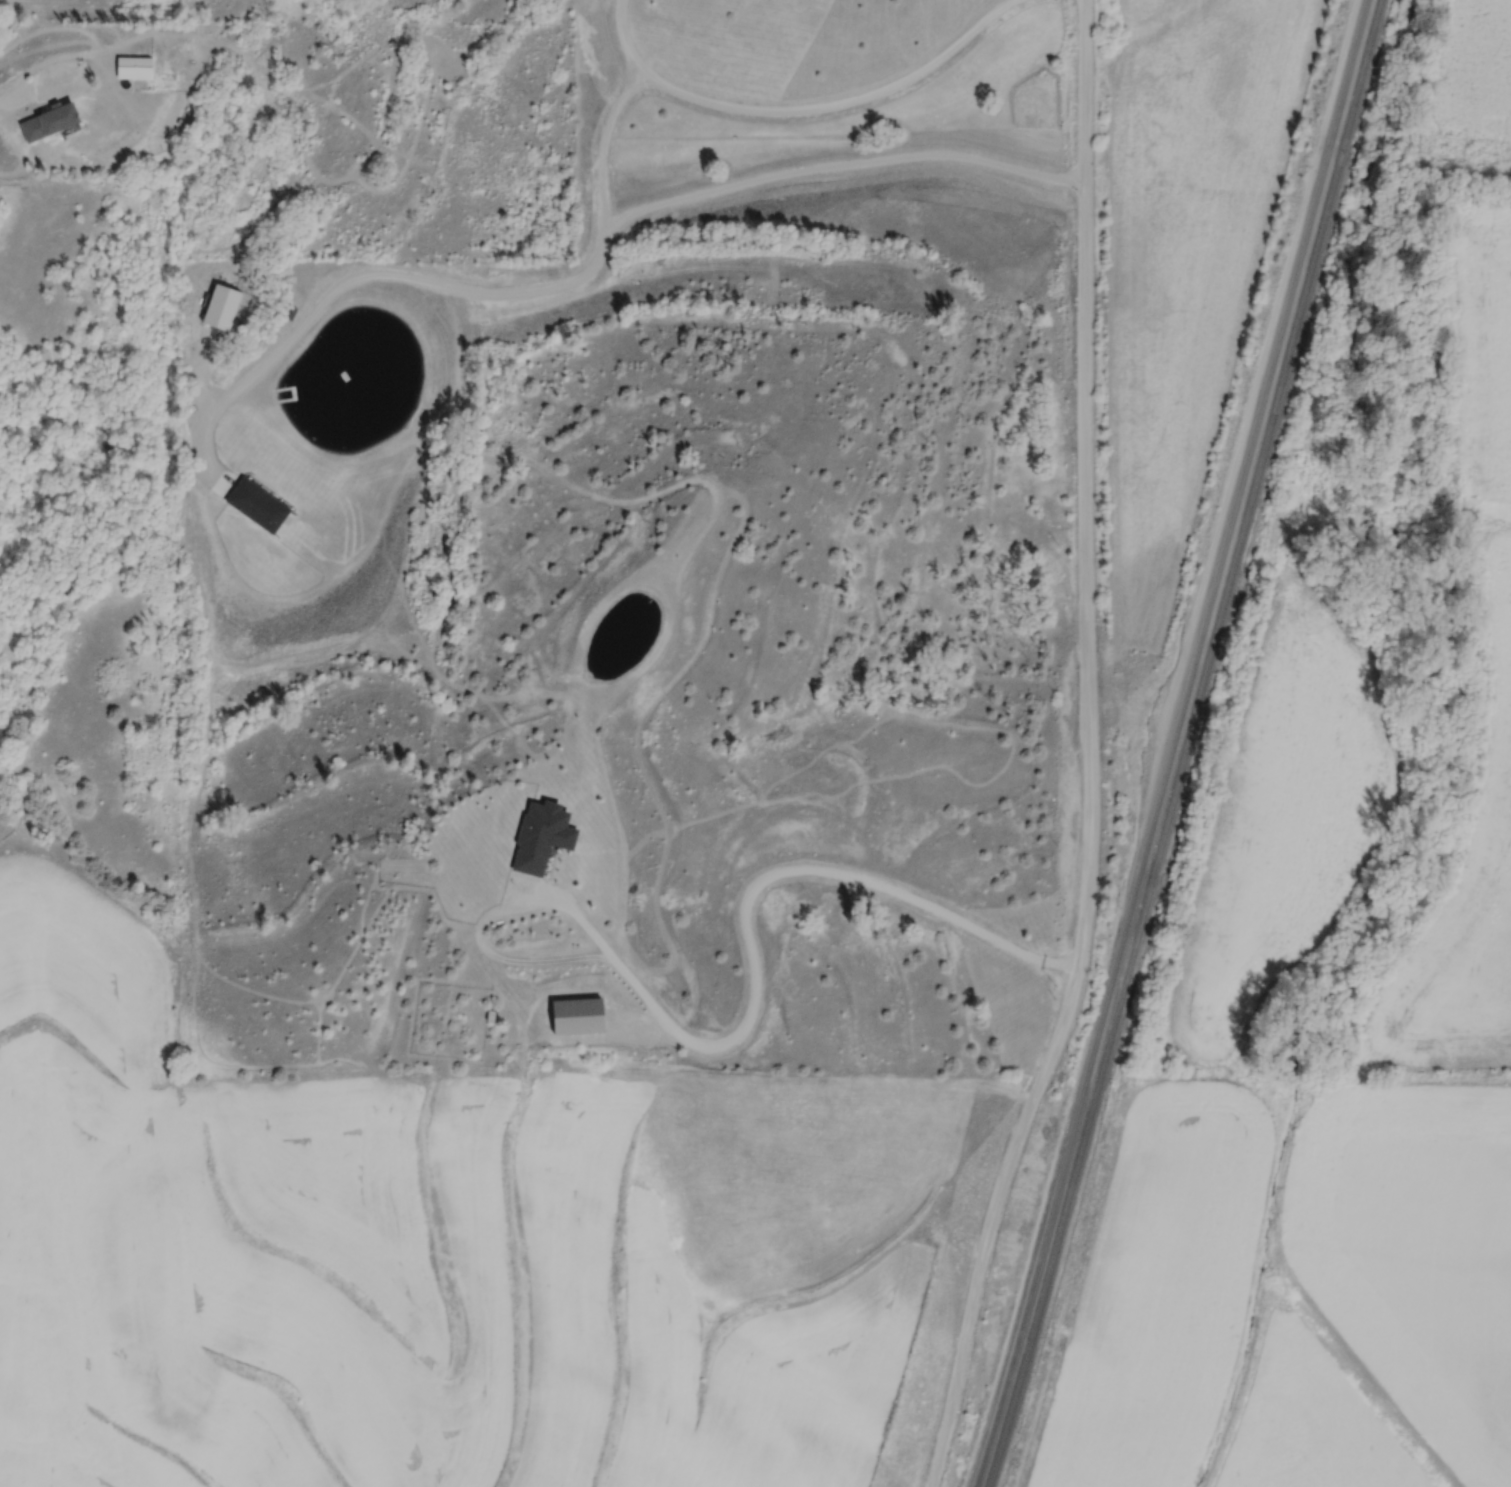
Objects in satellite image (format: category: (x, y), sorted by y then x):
building: (137, 69)
road: (10, 103)
road: (798, 110)
building: (49, 123)
road: (600, 144)
road: (594, 259)
building: (289, 312)
railway: (1166, 743)
railway: (1183, 743)
road: (1089, 751)
building: (535, 825)
road: (773, 932)
building: (570, 1003)

